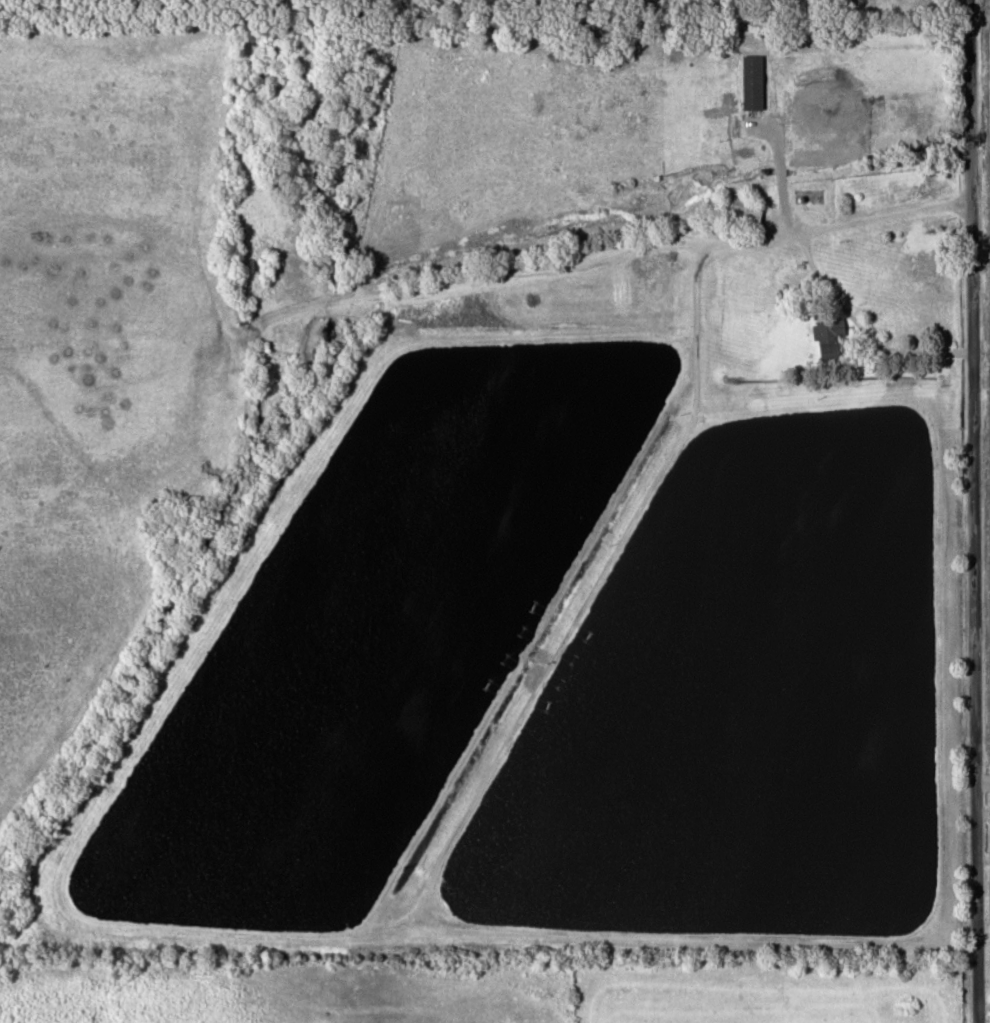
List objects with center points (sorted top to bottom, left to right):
building: (743, 209)
building: (670, 287)
building: (830, 331)

